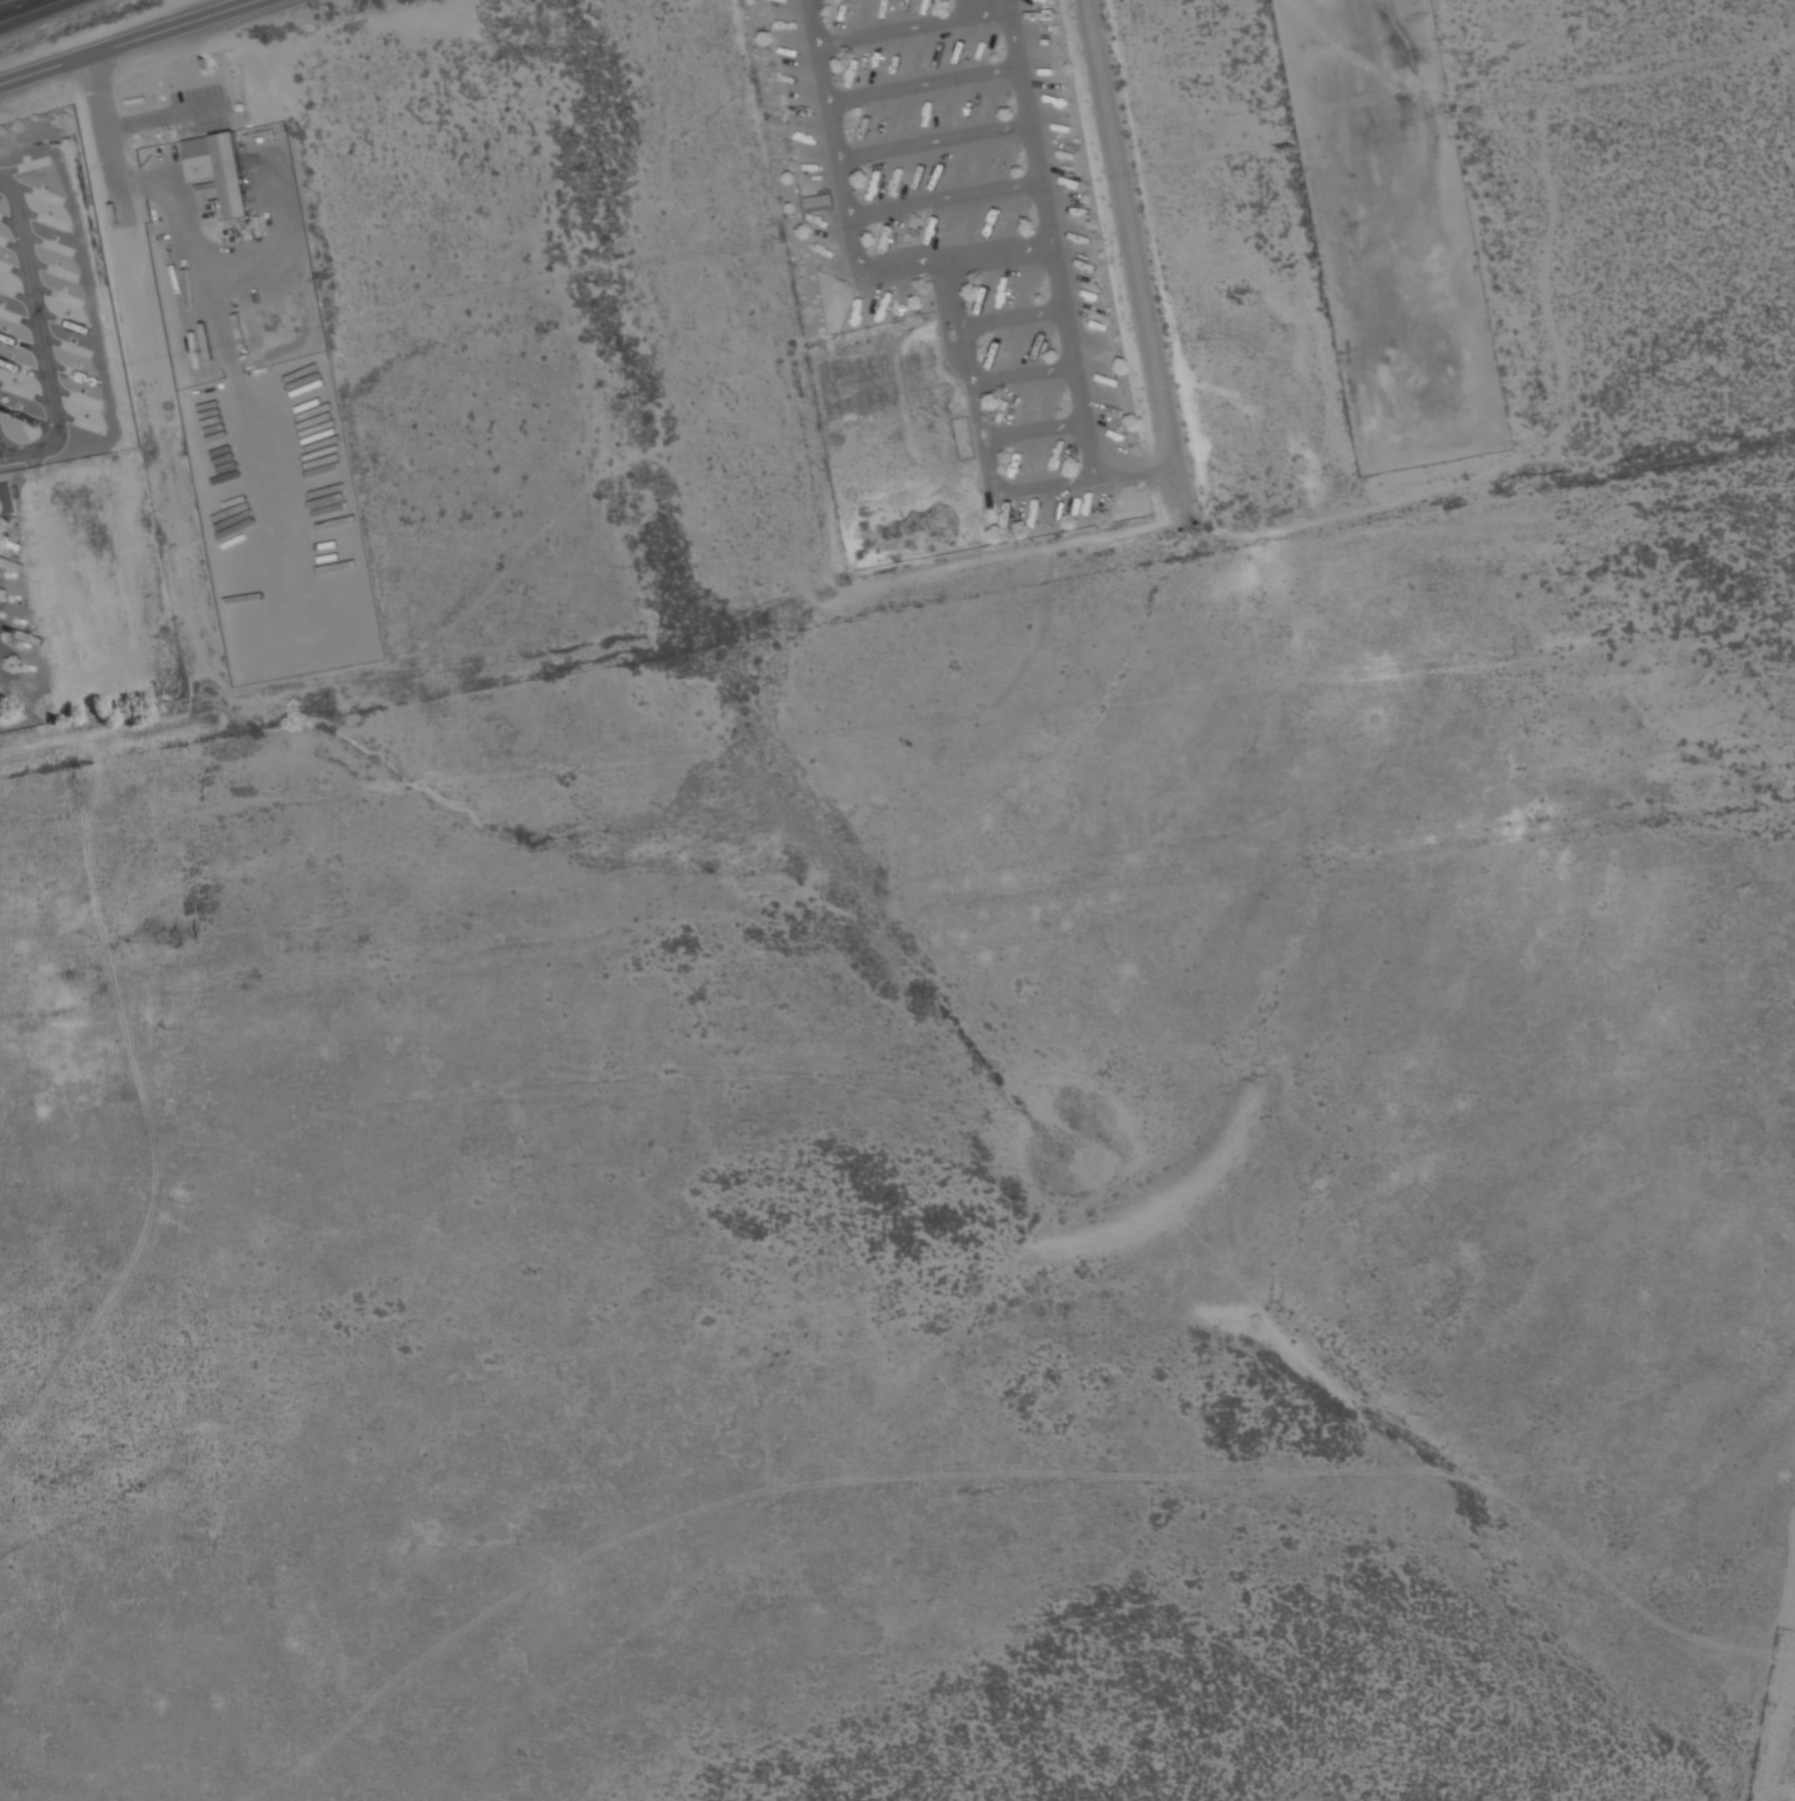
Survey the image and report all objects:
flagpole: (947, 4)
road: (17, 6)
road: (913, 28)
road: (124, 41)
road: (924, 84)
road: (935, 140)
building: (199, 146)
building: (1417, 148)
building: (1429, 168)
road: (116, 172)
building: (223, 172)
road: (947, 199)
building: (820, 201)
road: (853, 229)
road: (1137, 269)
road: (1014, 318)
road: (38, 333)
road: (1026, 375)
road: (1083, 406)
road: (1035, 430)
building: (6, 500)
road: (135, 1077)

